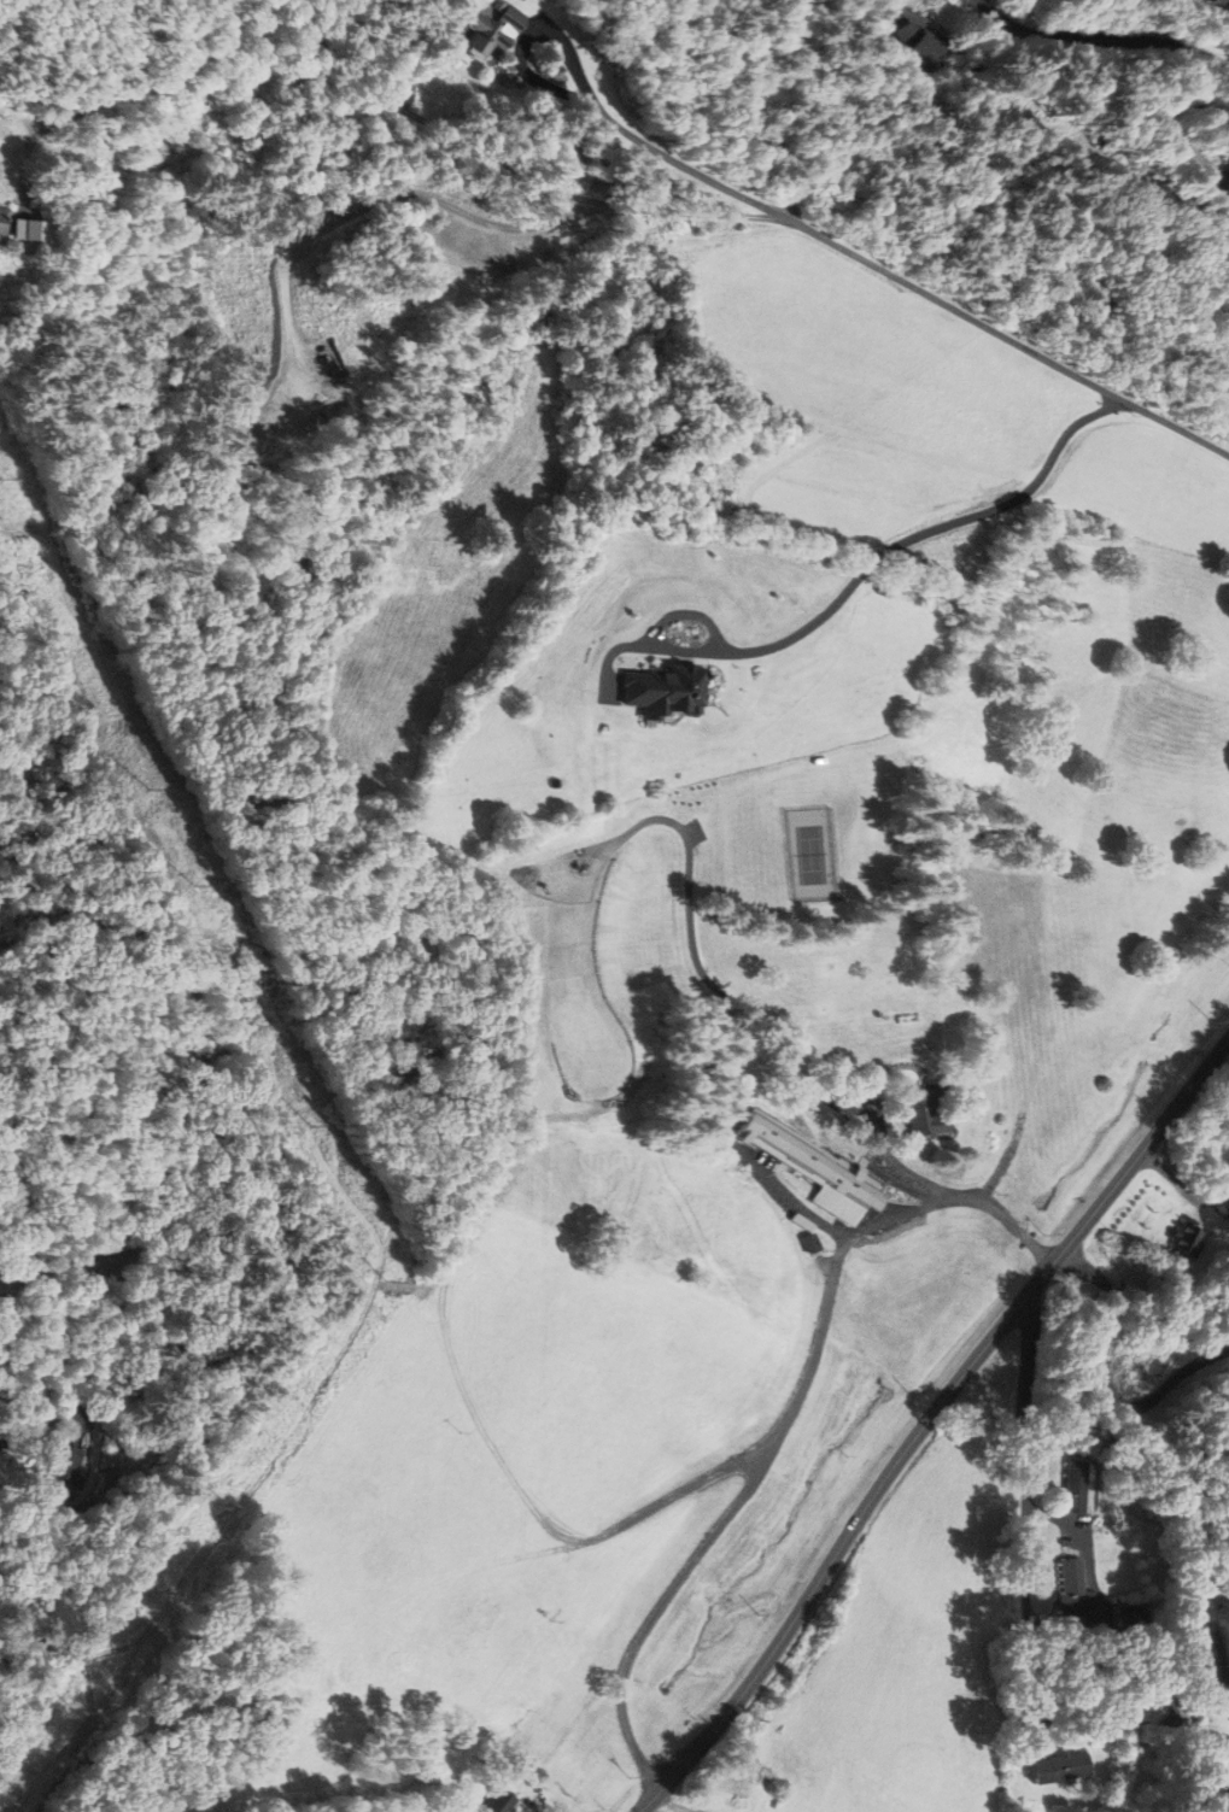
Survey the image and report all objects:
building: (1217, 4)
road: (893, 8)
building: (492, 29)
road: (1102, 40)
building: (919, 43)
road: (525, 46)
road: (365, 84)
building: (397, 84)
road: (1166, 113)
road: (450, 204)
building: (2, 224)
road: (905, 282)
road: (1227, 397)
road: (859, 577)
power tower: (150, 790)
power tower: (194, 885)
road: (817, 1087)
building: (935, 1110)
power tower: (311, 1126)
building: (810, 1172)
building: (1190, 1241)
power tower: (385, 1280)
road: (1028, 1368)
road: (1108, 1380)
road: (74, 1420)
road: (927, 1423)
road: (27, 1432)
building: (66, 1472)
road: (757, 1473)
building: (1079, 1486)
power tower: (226, 1503)
building: (1070, 1591)
building: (1123, 1622)
building: (1210, 1659)
building: (648, 1665)
road: (1026, 1678)
power tower: (75, 1712)
building: (1050, 1770)
building: (737, 1781)

